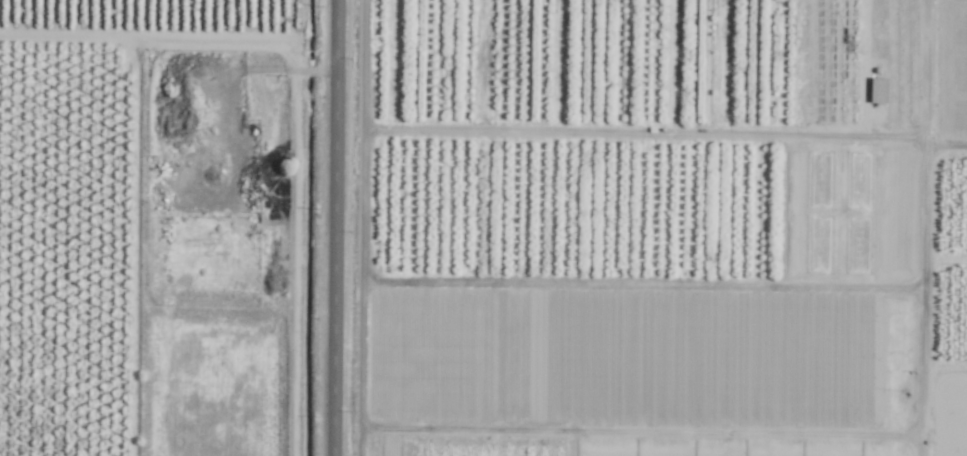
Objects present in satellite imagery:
road: (336, 228)

